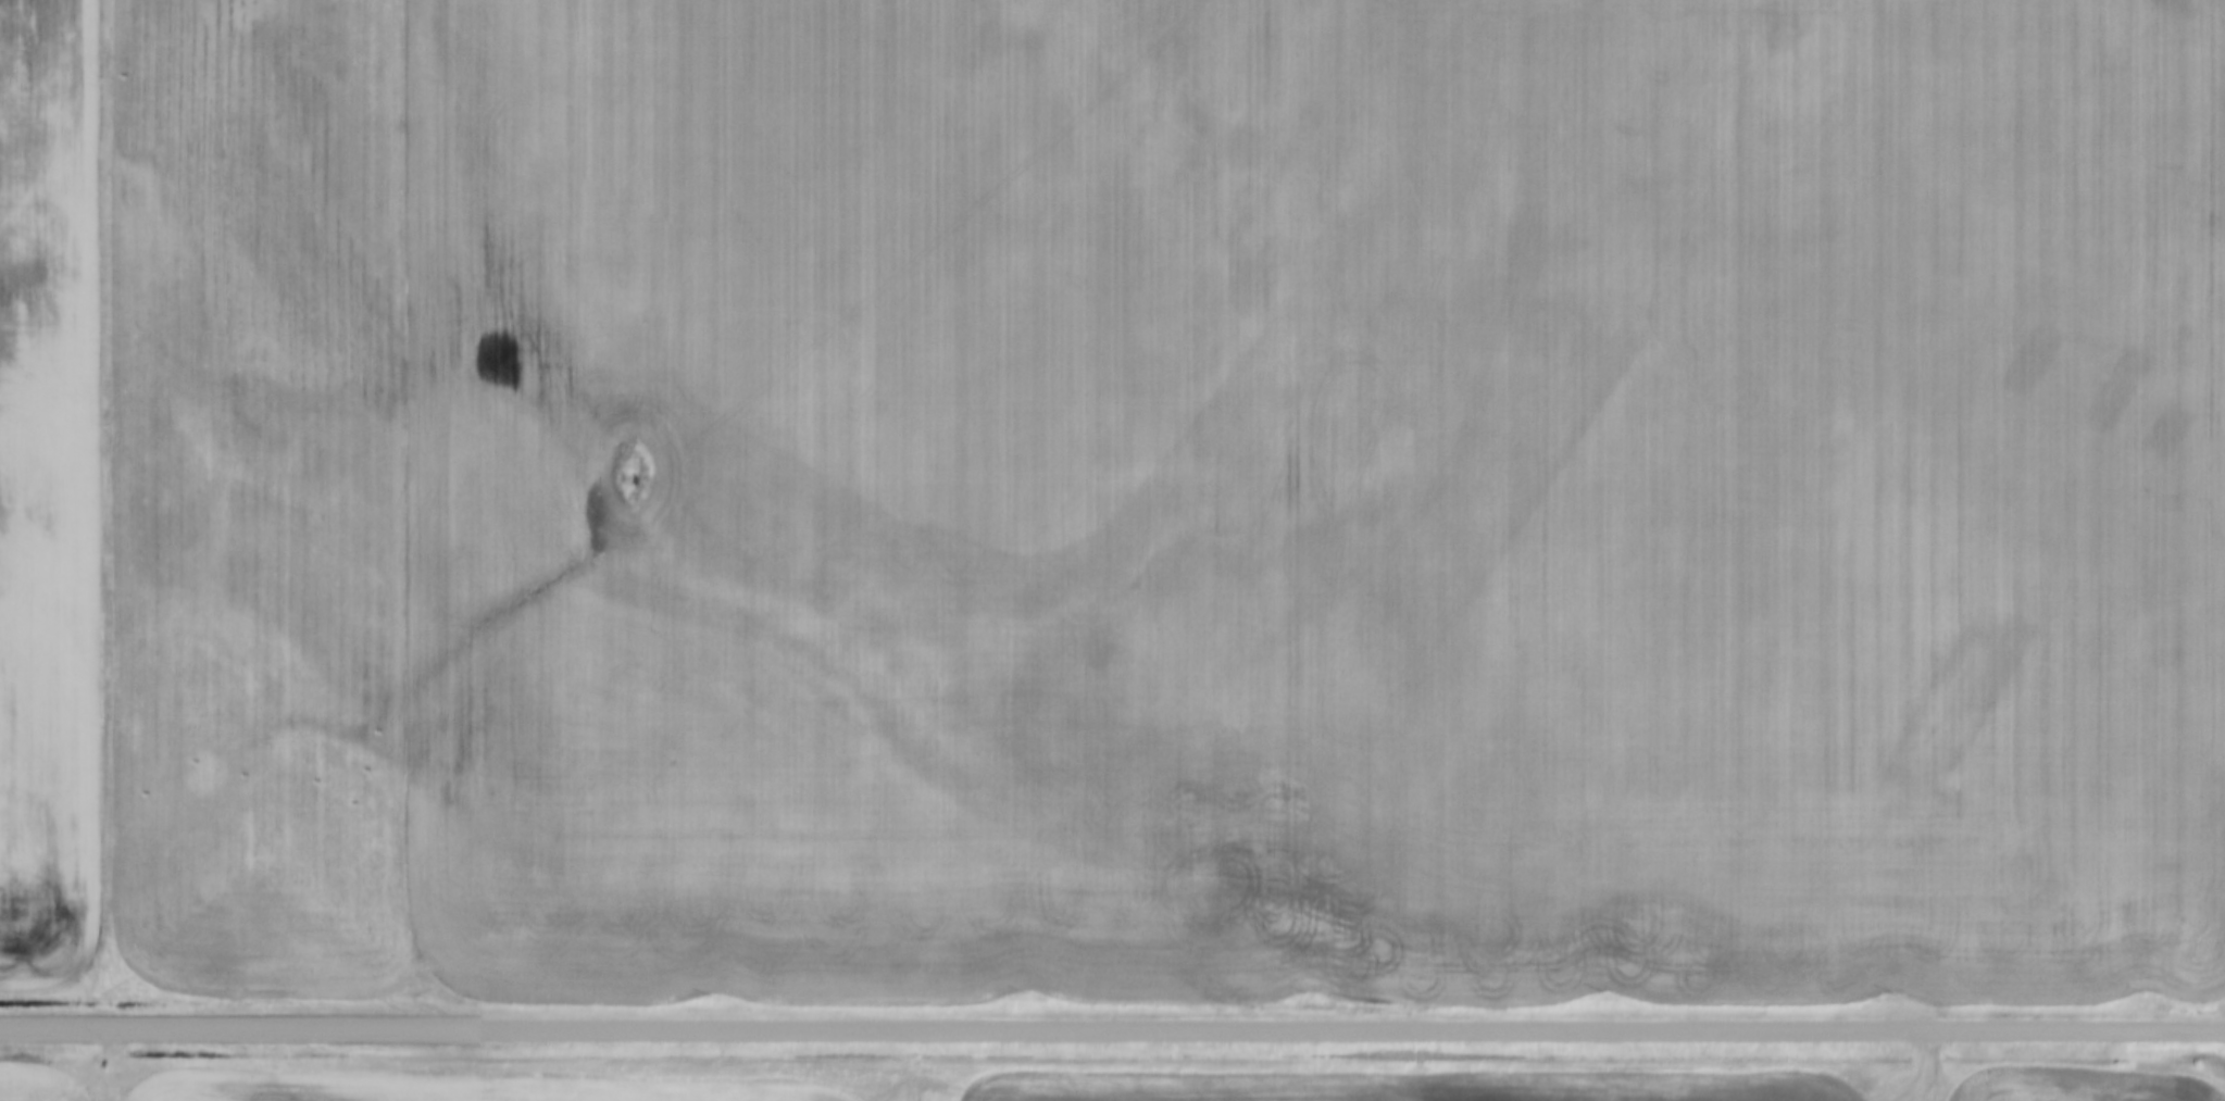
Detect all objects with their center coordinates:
road: (1112, 1030)

